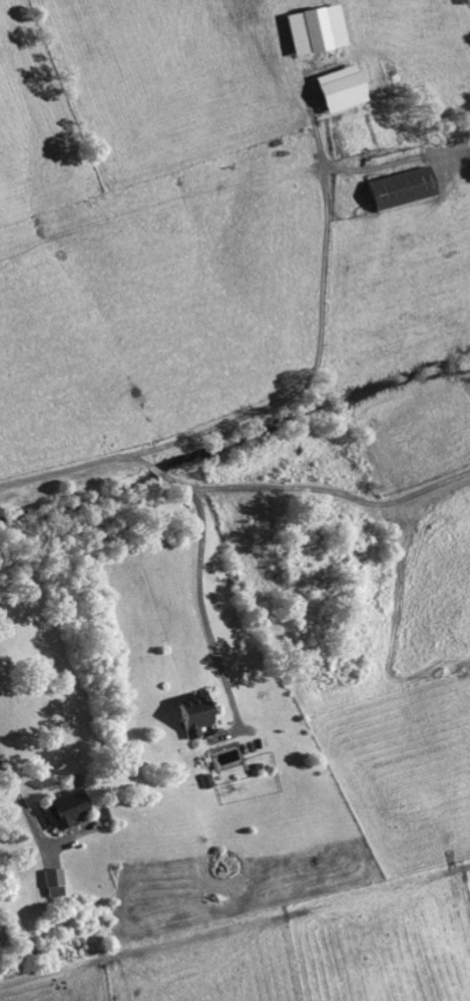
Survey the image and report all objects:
building: (339, 91)
building: (399, 190)
road: (324, 362)
road: (57, 469)
road: (292, 490)
road: (207, 609)
building: (192, 715)
road: (21, 797)
building: (54, 884)

